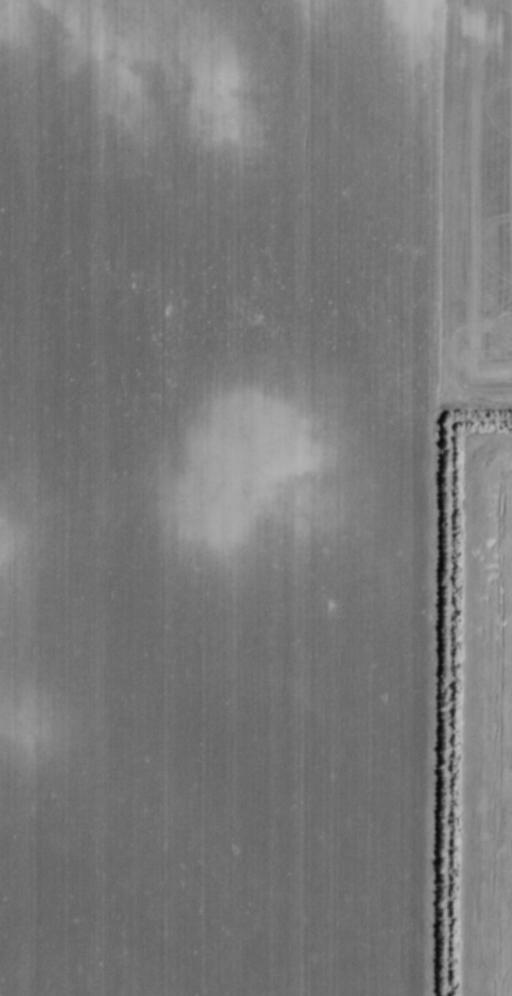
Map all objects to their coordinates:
crop: (232, 475)
crop: (482, 723)

